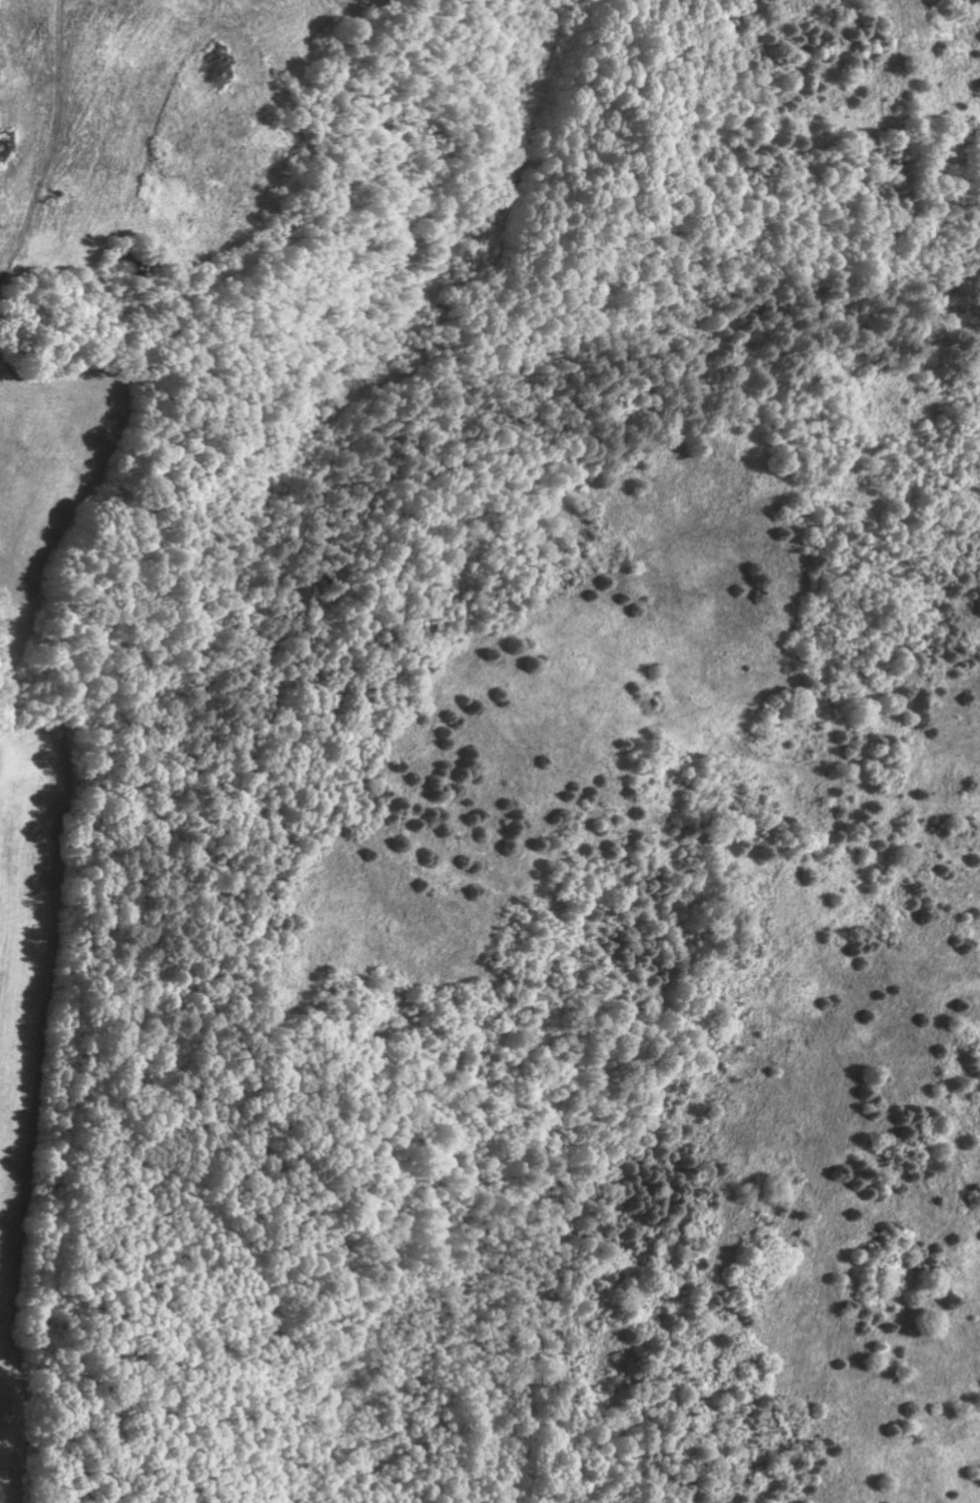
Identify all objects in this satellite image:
road: (541, 1353)

